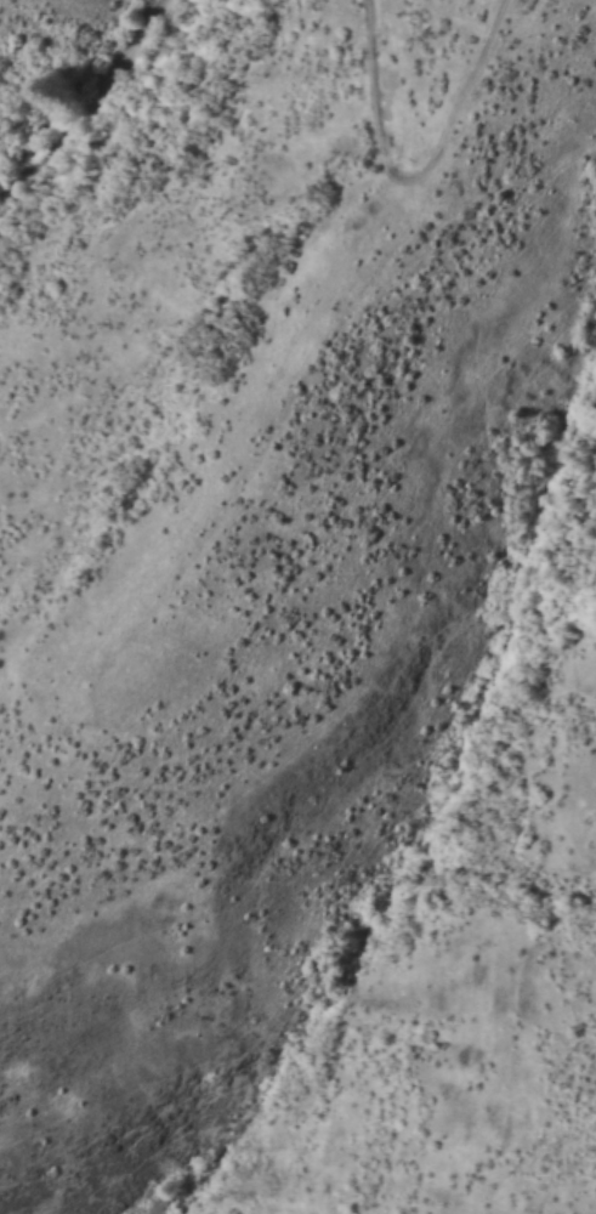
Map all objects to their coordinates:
road: (74, 79)
road: (432, 189)

